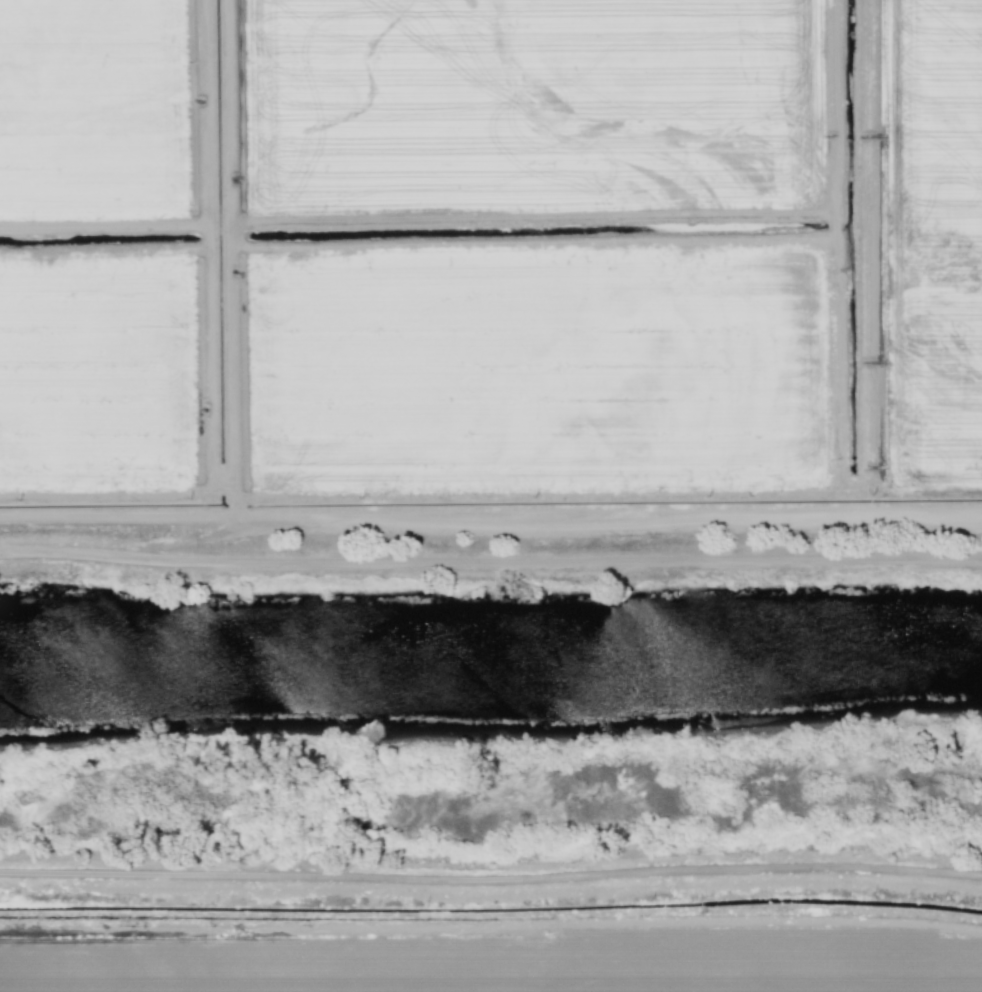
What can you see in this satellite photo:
road: (118, 513)
road: (490, 571)
river: (491, 657)
road: (491, 875)
crop: (508, 940)

